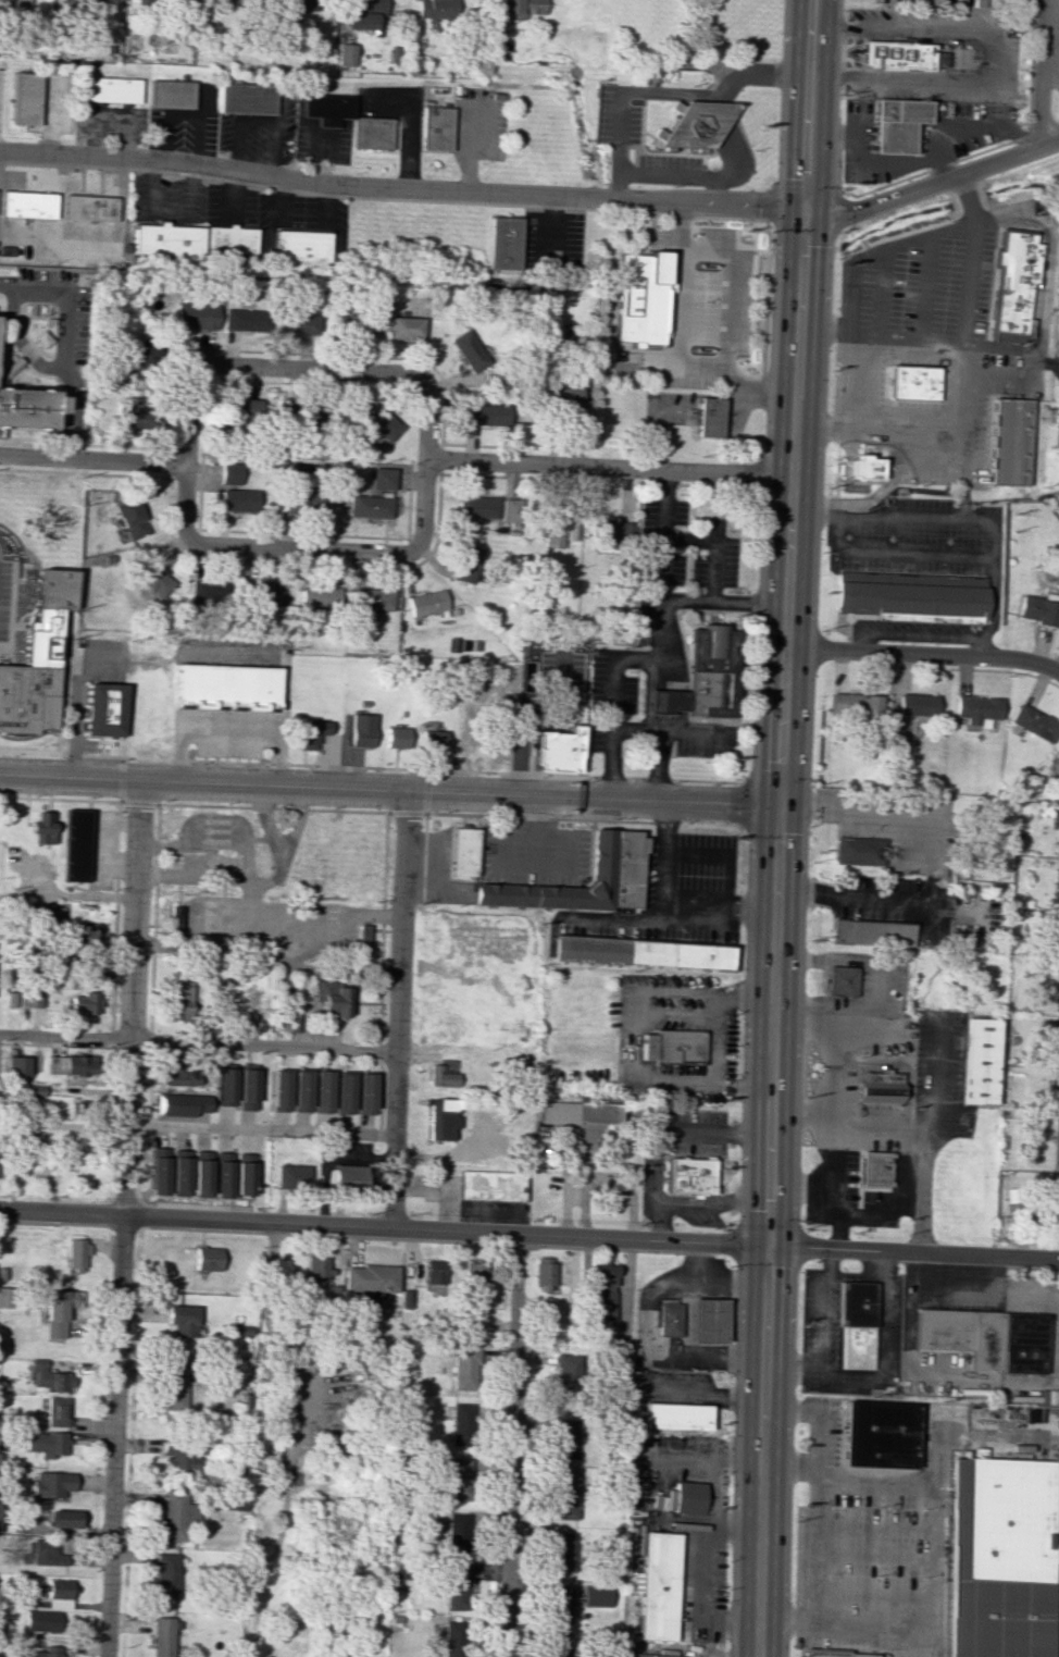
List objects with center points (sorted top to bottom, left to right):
building: (169, 0)
building: (94, 1)
building: (226, 1)
building: (15, 2)
building: (295, 4)
building: (367, 5)
building: (520, 8)
building: (436, 12)
building: (359, 20)
road: (1051, 34)
building: (886, 52)
building: (347, 54)
road: (993, 58)
road: (1042, 72)
road: (1050, 74)
building: (112, 89)
road: (659, 92)
building: (172, 94)
building: (26, 98)
building: (246, 98)
road: (793, 104)
road: (821, 106)
building: (327, 108)
road: (1058, 122)
building: (693, 123)
building: (894, 123)
building: (435, 128)
road: (1041, 129)
building: (373, 132)
road: (854, 134)
road: (728, 141)
road: (468, 148)
road: (926, 157)
road: (943, 166)
road: (932, 168)
road: (680, 173)
road: (769, 186)
road: (803, 190)
road: (534, 194)
road: (963, 197)
road: (765, 203)
building: (27, 205)
building: (89, 208)
traffic signals: (802, 208)
road: (949, 226)
road: (913, 237)
building: (166, 239)
building: (229, 239)
building: (503, 244)
building: (300, 245)
road: (767, 272)
road: (1037, 281)
road: (964, 282)
building: (1009, 284)
building: (639, 297)
road: (758, 298)
building: (195, 316)
building: (246, 320)
building: (299, 323)
building: (404, 327)
road: (879, 335)
road: (64, 343)
road: (678, 346)
building: (469, 350)
building: (144, 353)
road: (364, 357)
road: (1048, 366)
road: (302, 368)
road: (1054, 370)
road: (996, 380)
building: (909, 382)
road: (855, 383)
building: (560, 398)
road: (738, 404)
building: (27, 408)
building: (246, 410)
road: (711, 410)
road: (677, 411)
building: (485, 413)
building: (136, 416)
building: (711, 417)
building: (382, 423)
road: (173, 432)
road: (923, 437)
building: (1058, 437)
road: (651, 438)
park: (1050, 438)
building: (1007, 442)
road: (495, 446)
road: (443, 457)
road: (91, 459)
road: (172, 462)
road: (611, 465)
building: (862, 467)
road: (926, 468)
road: (441, 472)
building: (231, 473)
road: (130, 477)
road: (498, 477)
road: (187, 478)
building: (382, 479)
road: (647, 483)
road: (666, 484)
road: (882, 485)
road: (715, 487)
road: (412, 498)
building: (238, 499)
road: (1017, 499)
building: (302, 504)
building: (370, 506)
building: (477, 507)
building: (510, 514)
building: (130, 517)
road: (892, 518)
building: (611, 531)
building: (558, 532)
road: (666, 532)
road: (715, 545)
road: (308, 549)
road: (34, 553)
road: (896, 553)
building: (466, 564)
road: (310, 565)
building: (154, 579)
building: (57, 590)
building: (212, 592)
road: (992, 592)
building: (265, 594)
building: (909, 595)
building: (319, 596)
road: (684, 598)
building: (371, 602)
building: (426, 603)
building: (1037, 610)
parking lot: (15, 622)
road: (14, 626)
road: (979, 647)
road: (926, 654)
road: (43, 657)
building: (706, 679)
building: (226, 685)
road: (612, 695)
building: (30, 696)
road: (77, 698)
building: (855, 703)
building: (917, 704)
building: (103, 709)
building: (976, 709)
building: (1033, 722)
road: (663, 724)
building: (361, 730)
road: (229, 731)
building: (311, 732)
road: (663, 733)
building: (397, 738)
road: (8, 739)
building: (432, 740)
building: (557, 751)
building: (1055, 763)
road: (610, 765)
road: (367, 767)
road: (393, 790)
road: (121, 796)
road: (60, 800)
road: (121, 801)
traffic signals: (786, 804)
road: (882, 808)
road: (272, 809)
road: (426, 809)
road: (539, 818)
road: (266, 823)
building: (42, 827)
road: (220, 836)
road: (250, 843)
road: (105, 844)
building: (78, 845)
road: (208, 846)
building: (465, 852)
road: (725, 852)
building: (856, 852)
building: (600, 854)
road: (432, 861)
road: (534, 865)
road: (503, 866)
building: (627, 867)
road: (33, 873)
building: (1055, 874)
road: (103, 875)
road: (254, 879)
road: (437, 888)
road: (65, 892)
road: (883, 904)
road: (961, 910)
road: (723, 911)
road: (662, 912)
road: (115, 916)
building: (50, 926)
road: (781, 932)
building: (870, 932)
road: (422, 935)
building: (84, 937)
road: (452, 938)
building: (362, 939)
road: (251, 940)
building: (1058, 950)
building: (639, 952)
road: (493, 957)
road: (381, 970)
building: (840, 980)
building: (1058, 992)
building: (29, 997)
building: (10, 998)
building: (331, 998)
building: (182, 999)
building: (83, 1002)
road: (151, 1004)
road: (397, 1009)
building: (291, 1021)
building: (1051, 1035)
road: (113, 1038)
road: (198, 1041)
road: (57, 1044)
building: (672, 1047)
park: (1, 1050)
building: (977, 1061)
road: (830, 1063)
building: (54, 1064)
building: (75, 1064)
building: (15, 1066)
building: (178, 1074)
building: (439, 1076)
building: (224, 1086)
building: (879, 1086)
building: (245, 1087)
building: (278, 1090)
building: (300, 1091)
building: (322, 1091)
building: (344, 1092)
building: (364, 1093)
building: (1056, 1093)
building: (179, 1104)
building: (577, 1112)
building: (440, 1118)
road: (259, 1128)
road: (677, 1128)
road: (934, 1130)
building: (1056, 1147)
building: (184, 1153)
park: (58, 1161)
building: (874, 1167)
building: (157, 1171)
building: (177, 1173)
building: (199, 1173)
building: (220, 1174)
building: (241, 1174)
building: (290, 1176)
building: (349, 1176)
building: (693, 1177)
road: (834, 1178)
building: (481, 1185)
road: (921, 1189)
road: (714, 1203)
building: (1048, 1205)
road: (122, 1219)
road: (661, 1223)
road: (384, 1226)
traffic signals: (769, 1247)
road: (913, 1251)
building: (75, 1256)
building: (205, 1259)
road: (827, 1261)
road: (881, 1264)
building: (314, 1268)
building: (473, 1273)
building: (543, 1273)
building: (432, 1277)
road: (867, 1277)
building: (367, 1279)
building: (602, 1290)
building: (4, 1297)
building: (59, 1310)
building: (668, 1319)
building: (180, 1320)
building: (706, 1320)
building: (855, 1325)
building: (985, 1337)
building: (463, 1367)
building: (565, 1369)
building: (48, 1376)
building: (173, 1387)
building: (57, 1411)
road: (821, 1412)
building: (674, 1415)
building: (22, 1421)
building: (461, 1424)
parking lot: (832, 1432)
building: (877, 1435)
building: (563, 1438)
building: (46, 1443)
road: (938, 1445)
road: (510, 1446)
building: (179, 1455)
road: (682, 1459)
building: (456, 1479)
building: (50, 1484)
building: (563, 1495)
building: (685, 1497)
building: (233, 1499)
building: (172, 1516)
building: (62, 1519)
road: (735, 1528)
road: (874, 1528)
building: (457, 1533)
road: (705, 1542)
road: (815, 1547)
parking lot: (861, 1547)
road: (933, 1550)
building: (561, 1551)
building: (43, 1553)
road: (874, 1557)
building: (996, 1558)
building: (165, 1575)
building: (656, 1585)
building: (453, 1588)
building: (58, 1593)
building: (595, 1594)
building: (558, 1608)
building: (41, 1620)
building: (162, 1636)
building: (452, 1639)
road: (910, 1640)
building: (557, 1649)
building: (40, 1652)
building: (834, 1654)
parking lot: (908, 1654)
building: (650, 1655)

